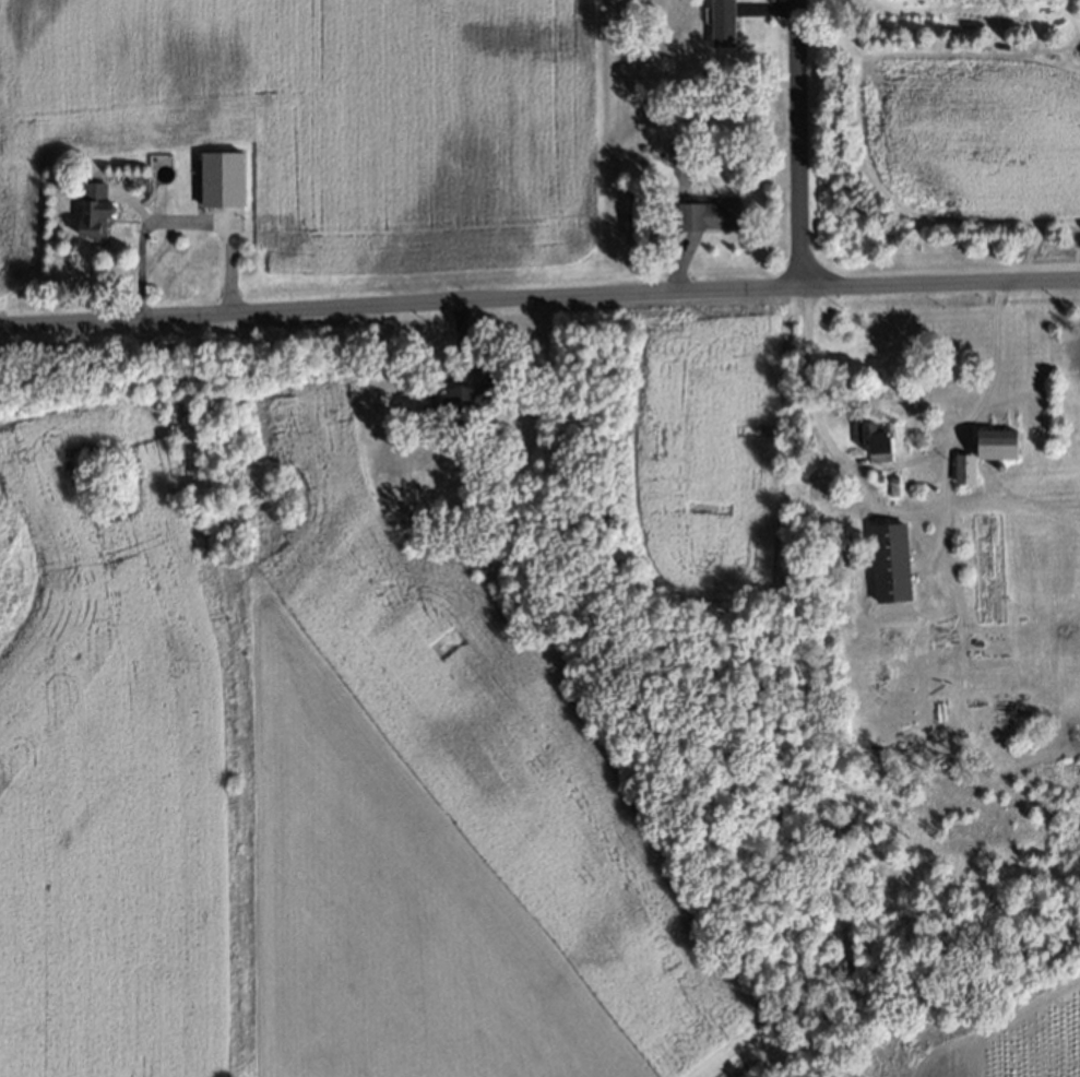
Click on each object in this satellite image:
building: (725, 23)
road: (800, 144)
building: (686, 153)
building: (224, 178)
building: (96, 212)
building: (711, 215)
road: (175, 221)
road: (539, 297)
building: (466, 398)
building: (876, 441)
building: (1000, 446)
road: (892, 464)
building: (965, 470)
building: (893, 563)

